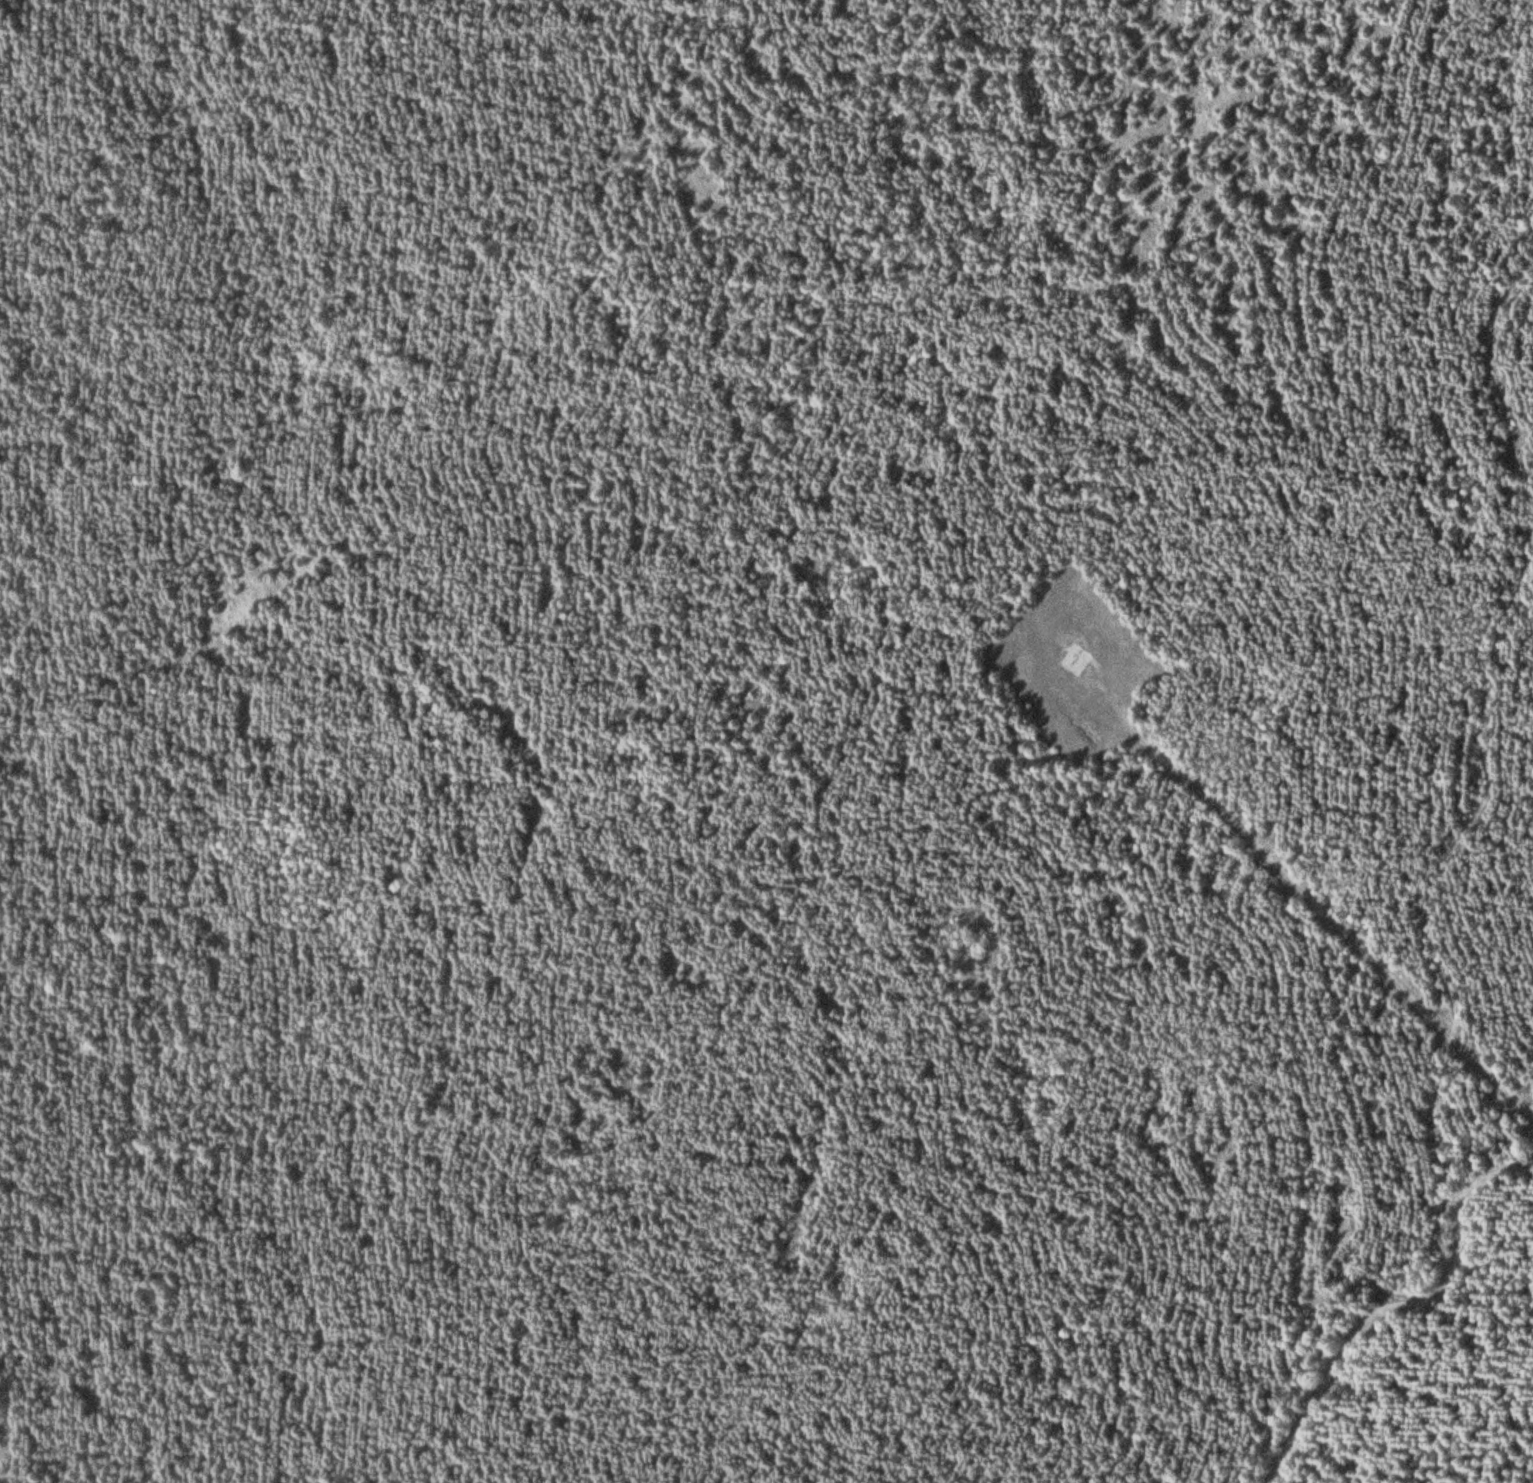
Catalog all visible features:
road: (1326, 908)
road: (1425, 919)
road: (1400, 1308)

